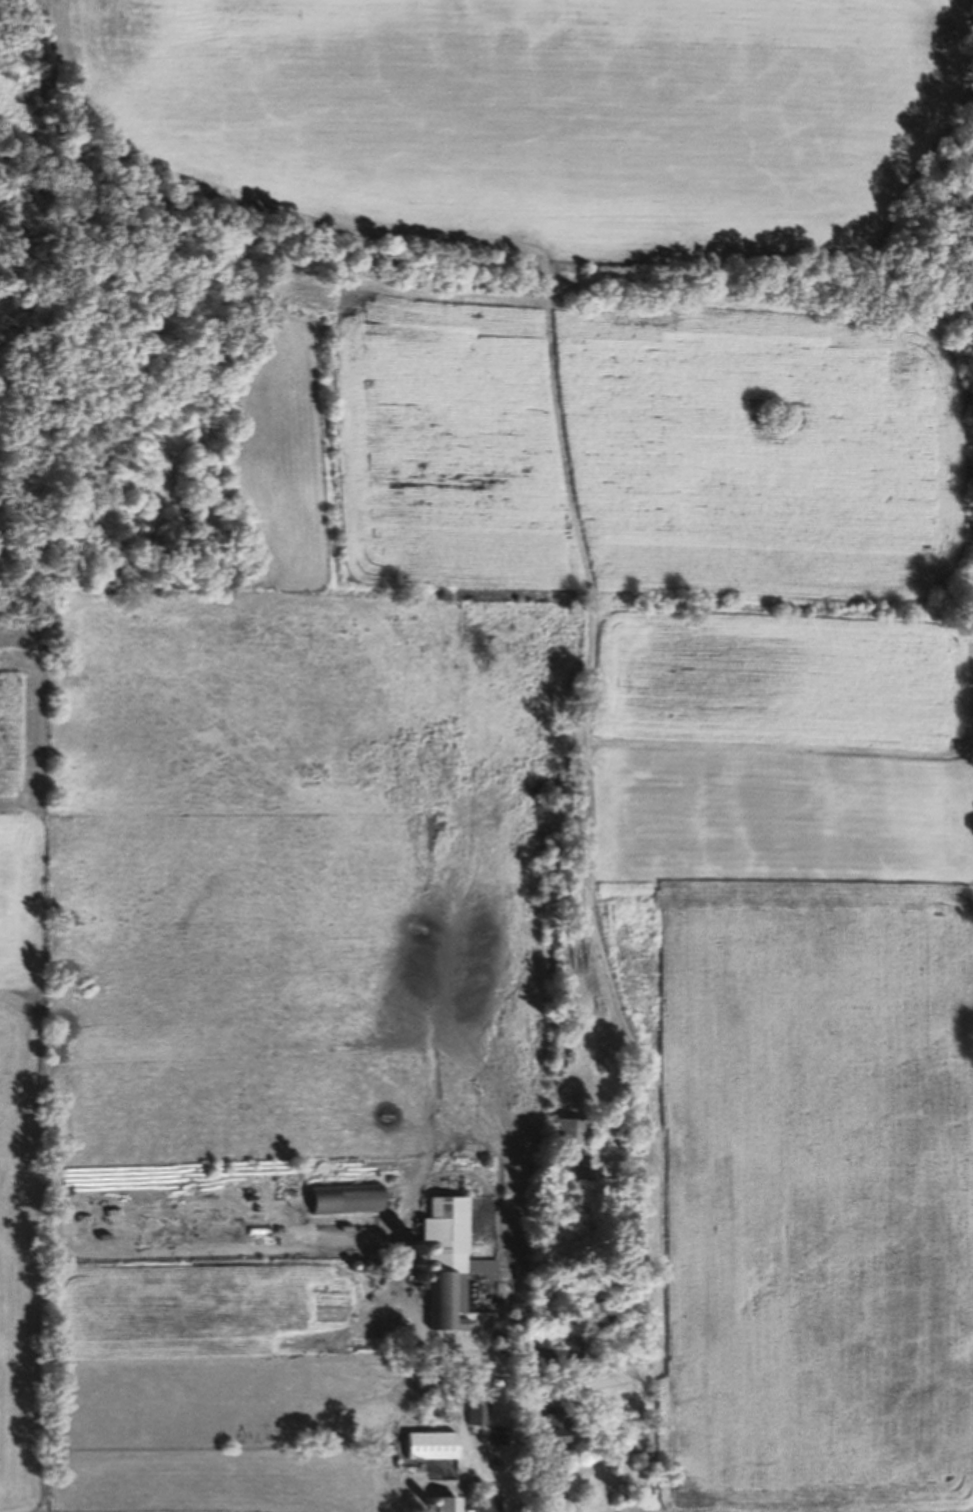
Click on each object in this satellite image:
crop: (531, 728)
building: (568, 1139)
building: (441, 1269)
building: (480, 1274)
building: (490, 1414)
building: (471, 1419)
building: (550, 1436)
building: (429, 1454)
road: (518, 1489)
building: (444, 1508)

